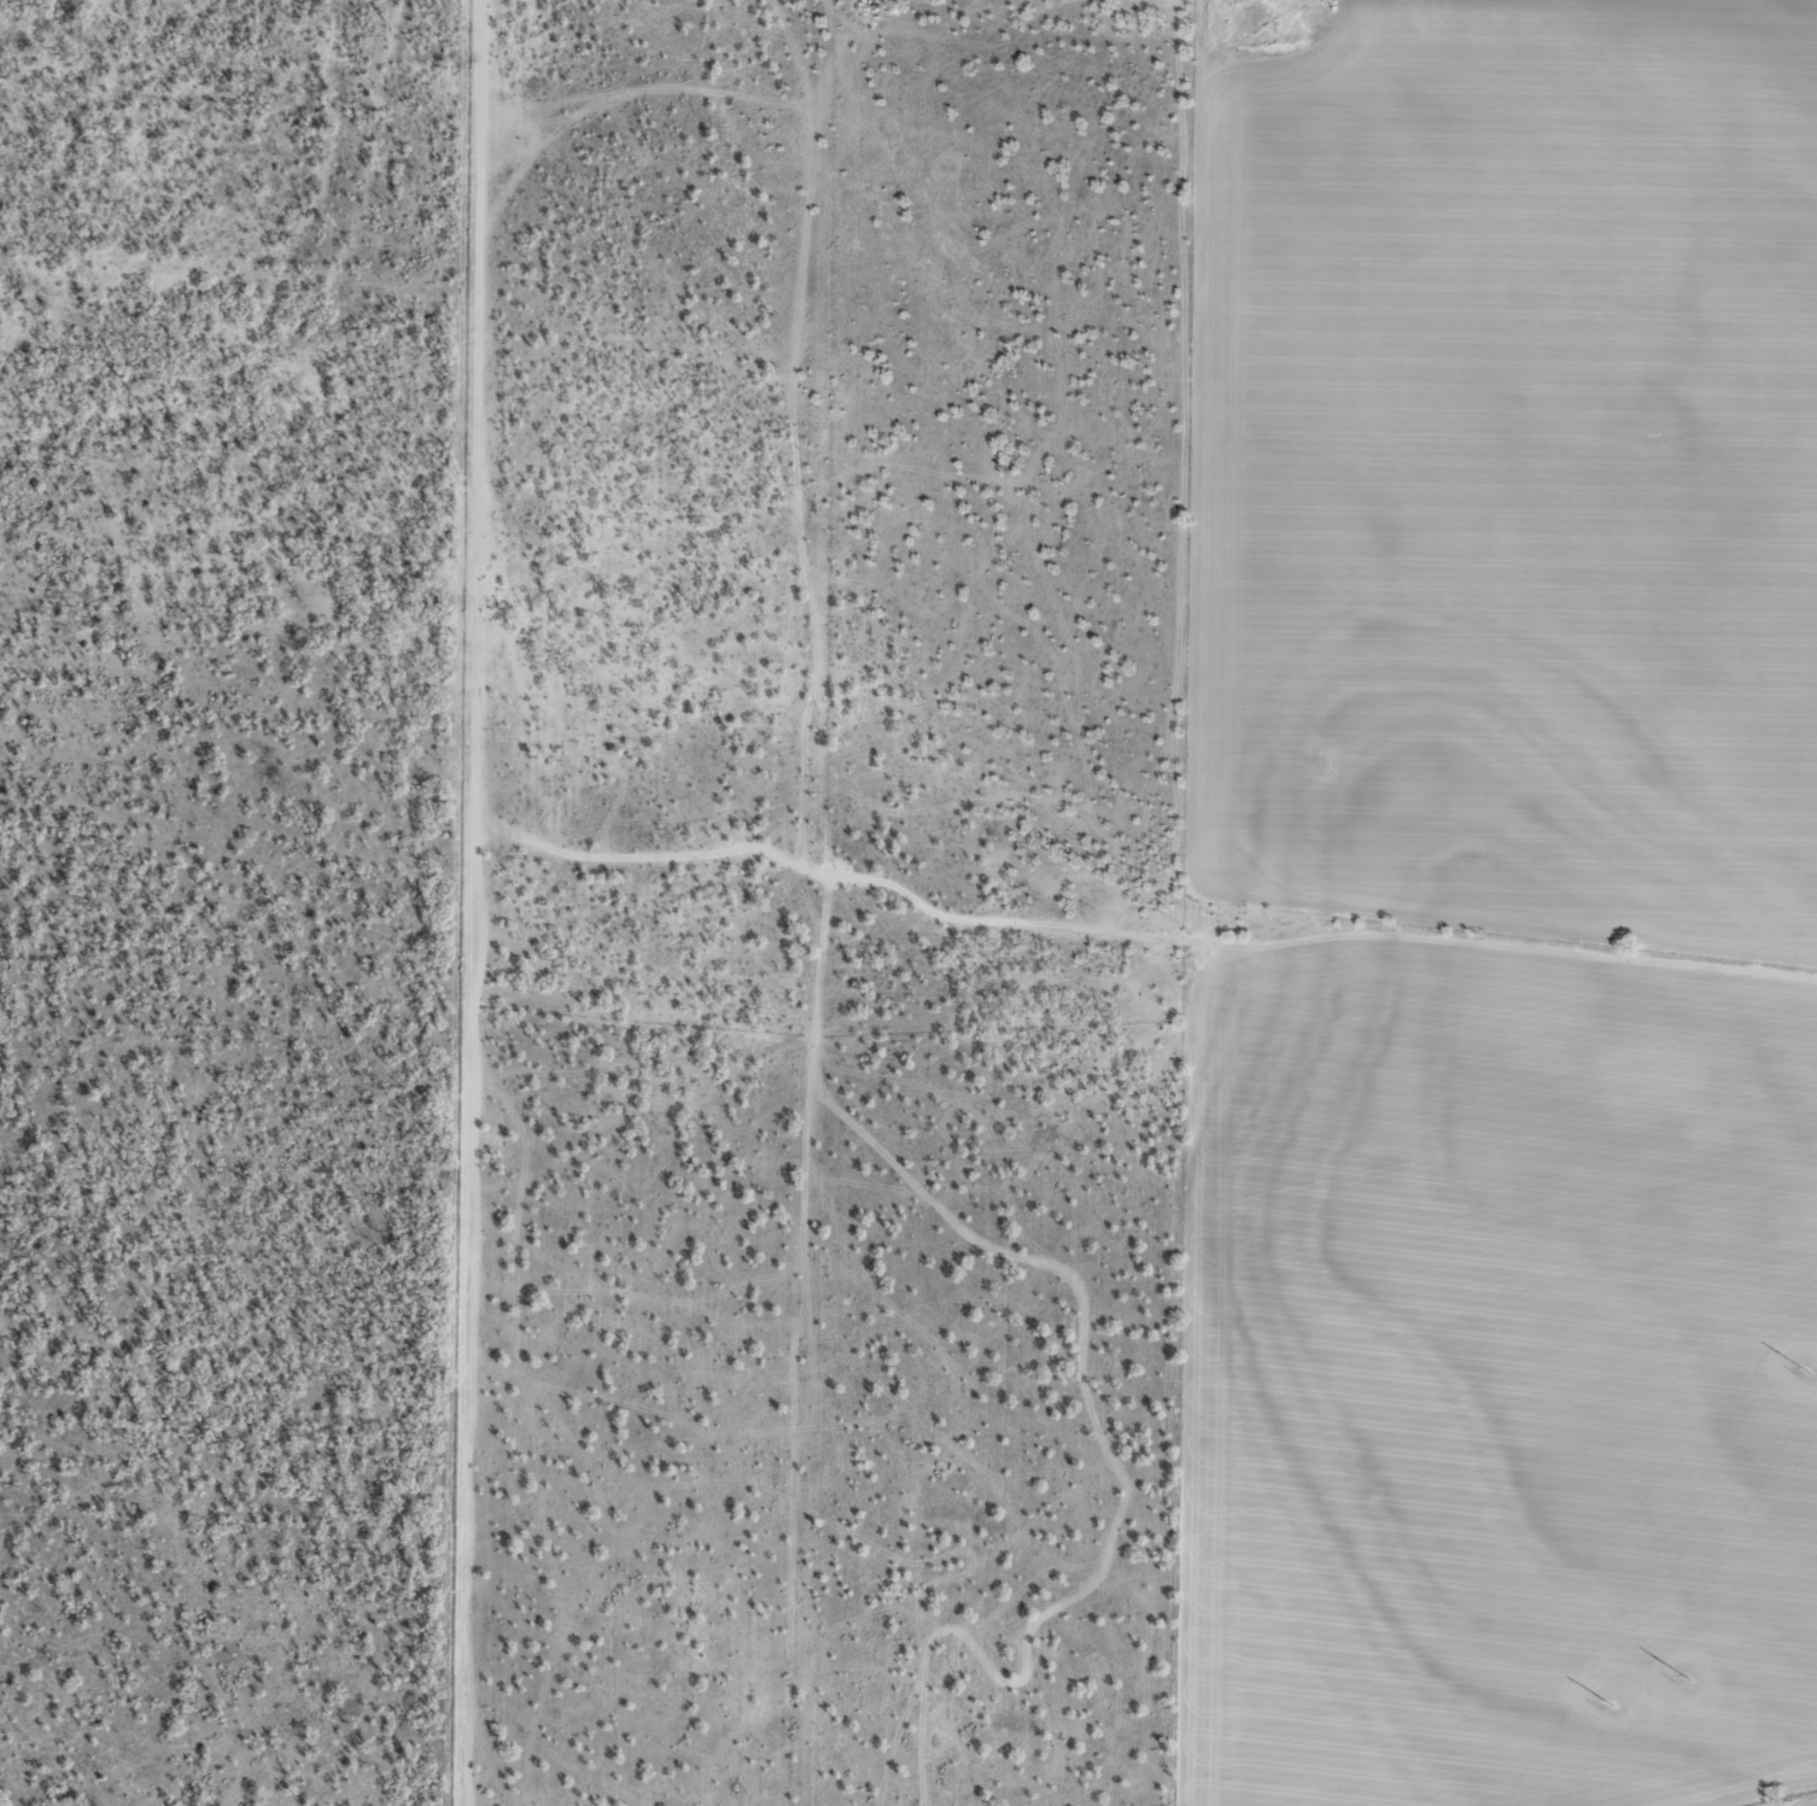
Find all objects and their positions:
power tower: (1805, 1370)
power tower: (1685, 1677)
power tower: (1608, 1702)

